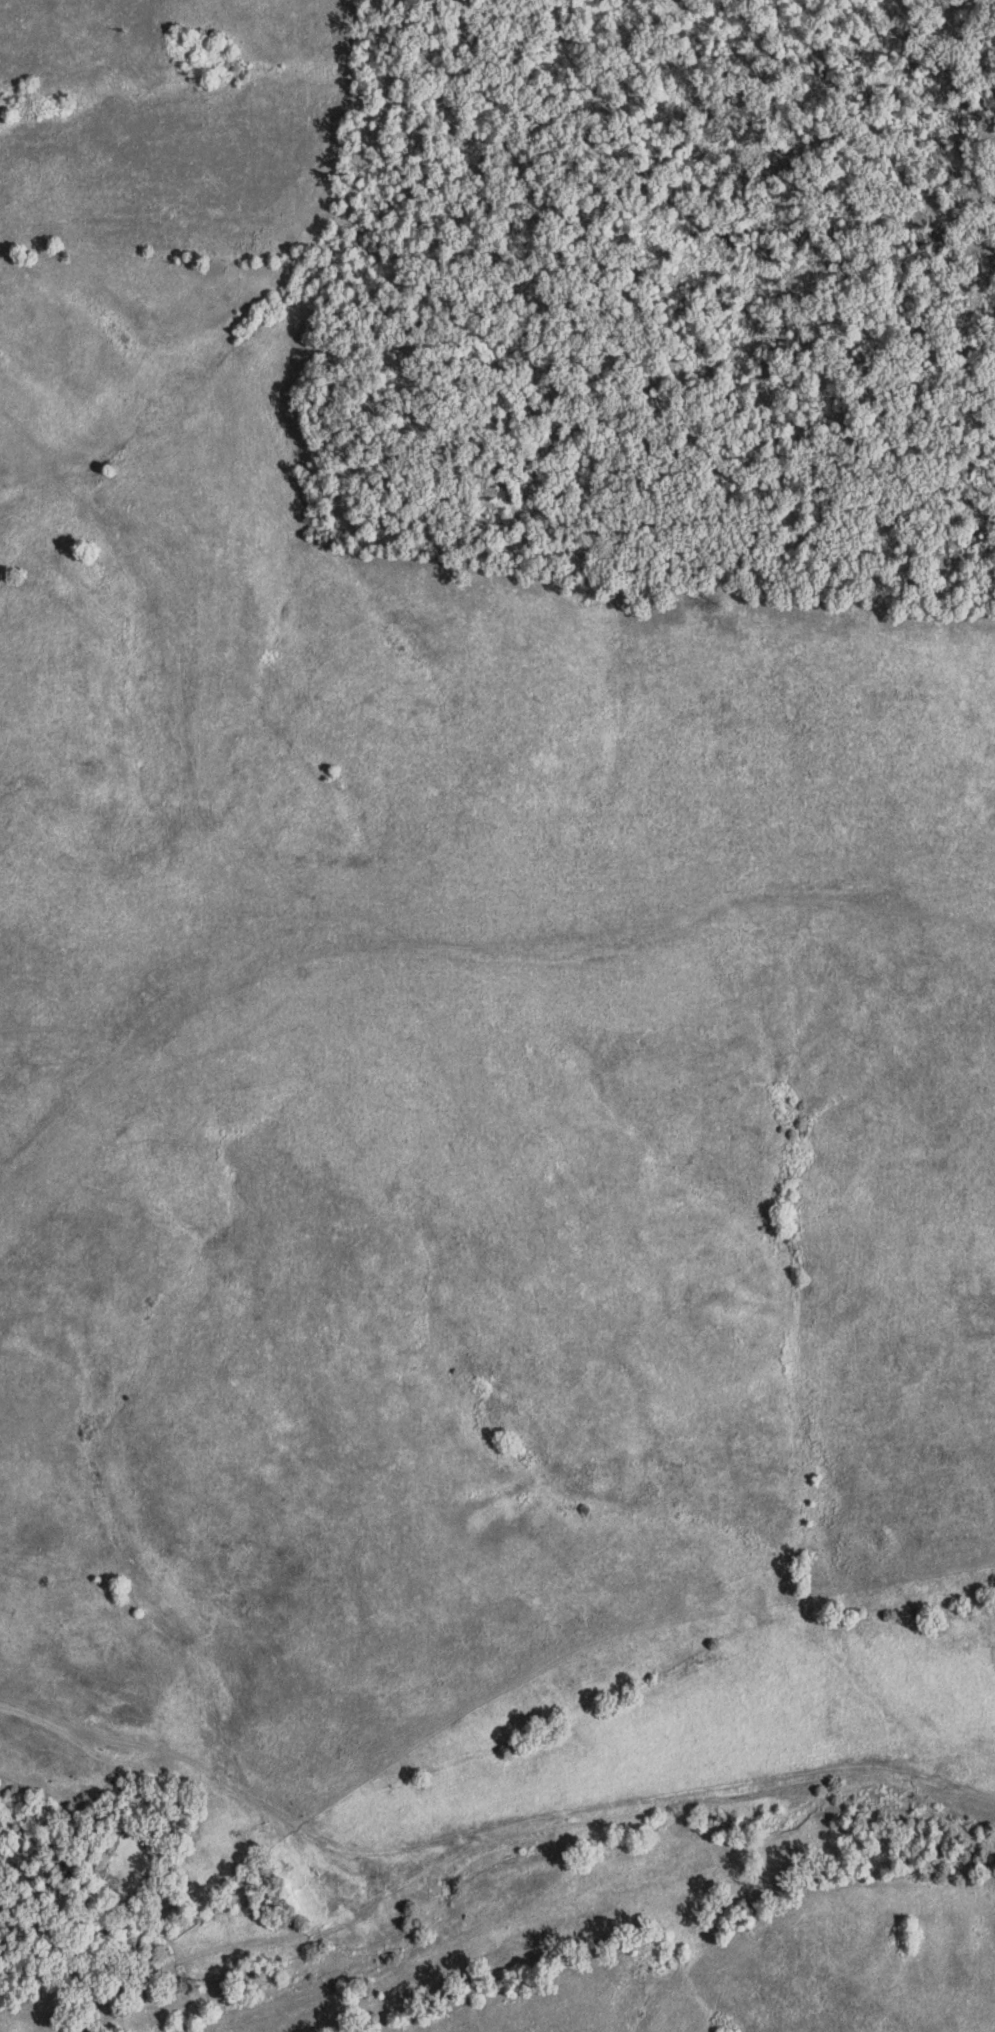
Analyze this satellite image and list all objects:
road: (174, 1772)

